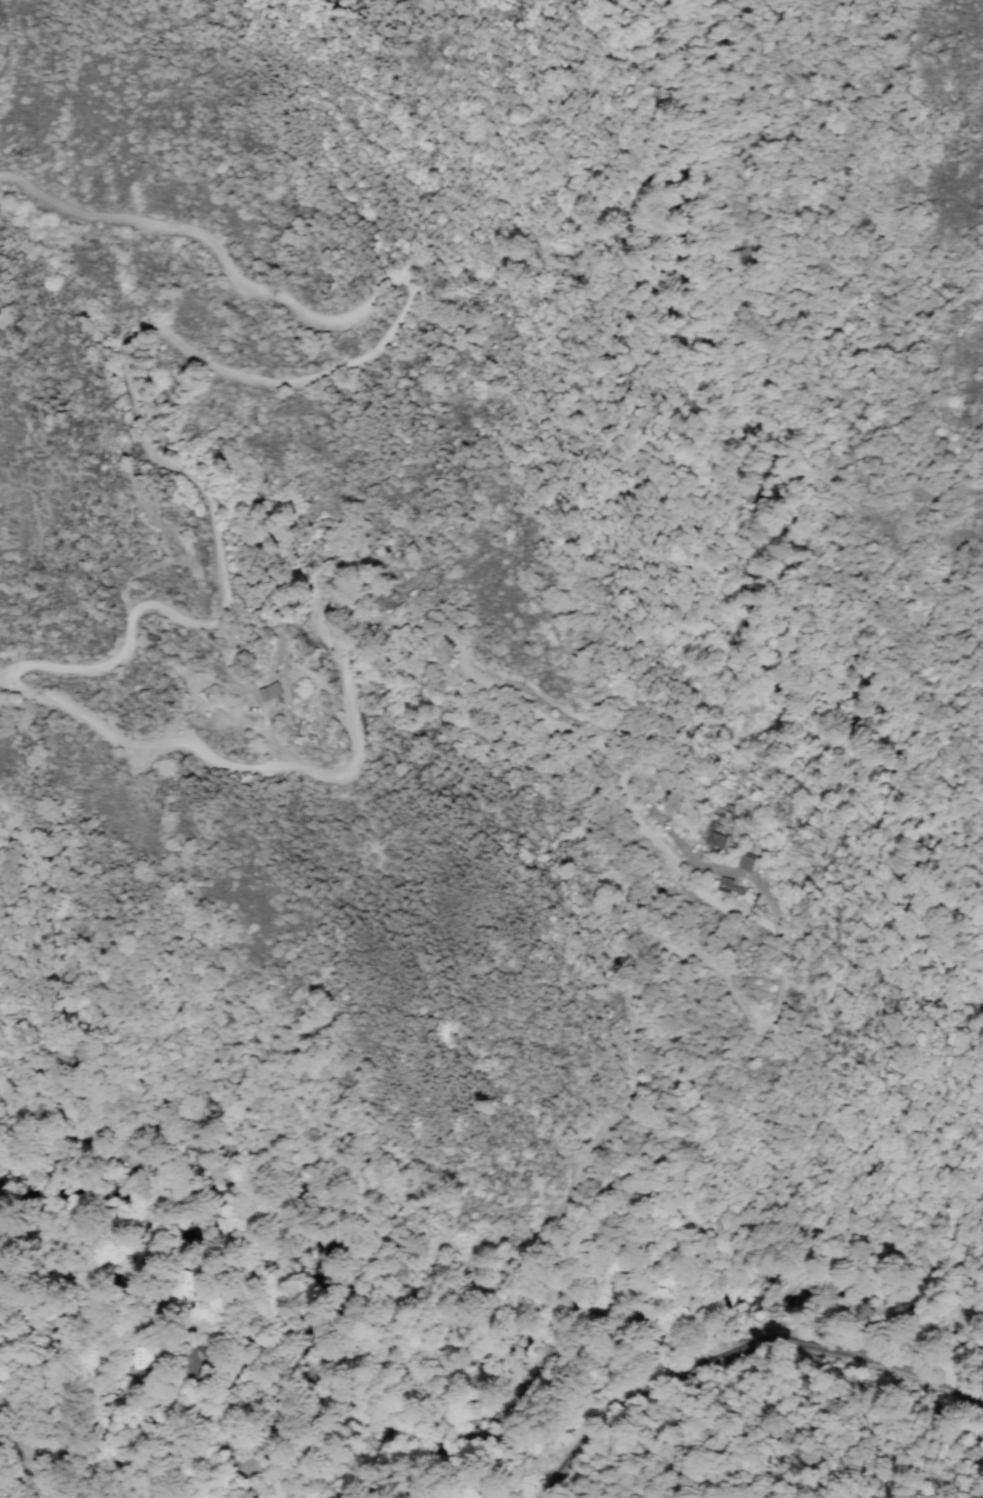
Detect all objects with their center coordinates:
road: (244, 375)
building: (272, 690)
road: (267, 737)
road: (615, 787)
building: (717, 831)
building: (747, 862)
road: (728, 868)
building: (728, 884)
road: (739, 1350)
road: (32, 1482)

